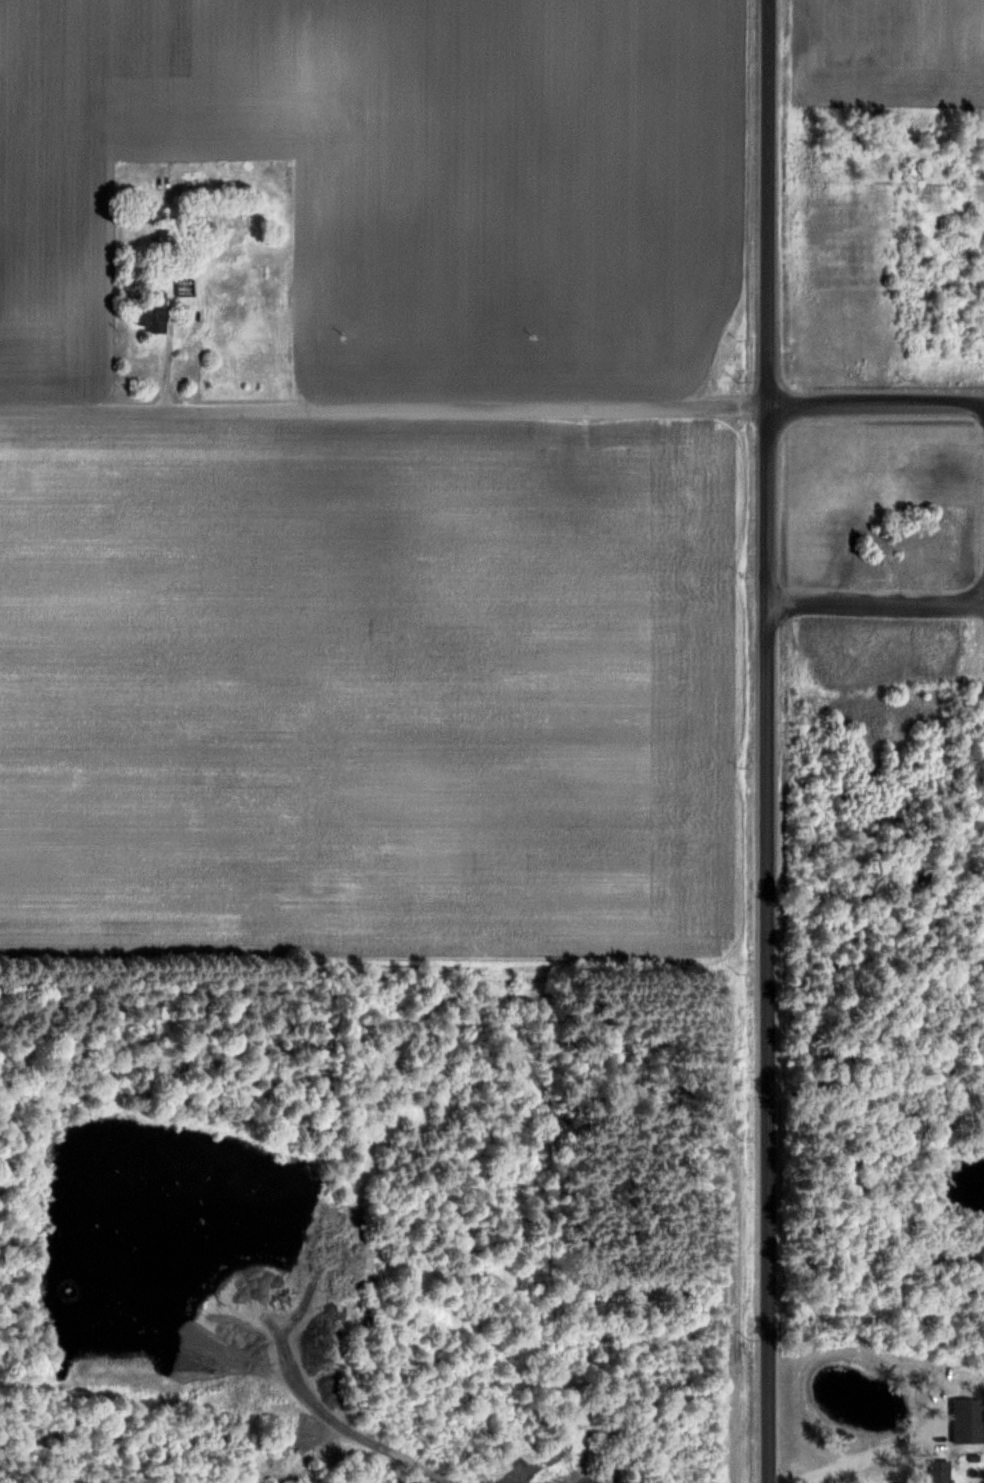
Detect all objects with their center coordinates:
building: (225, 222)
building: (154, 315)
road: (492, 406)
road: (767, 741)
building: (968, 1419)
building: (574, 1424)
road: (848, 1464)
building: (939, 1474)

